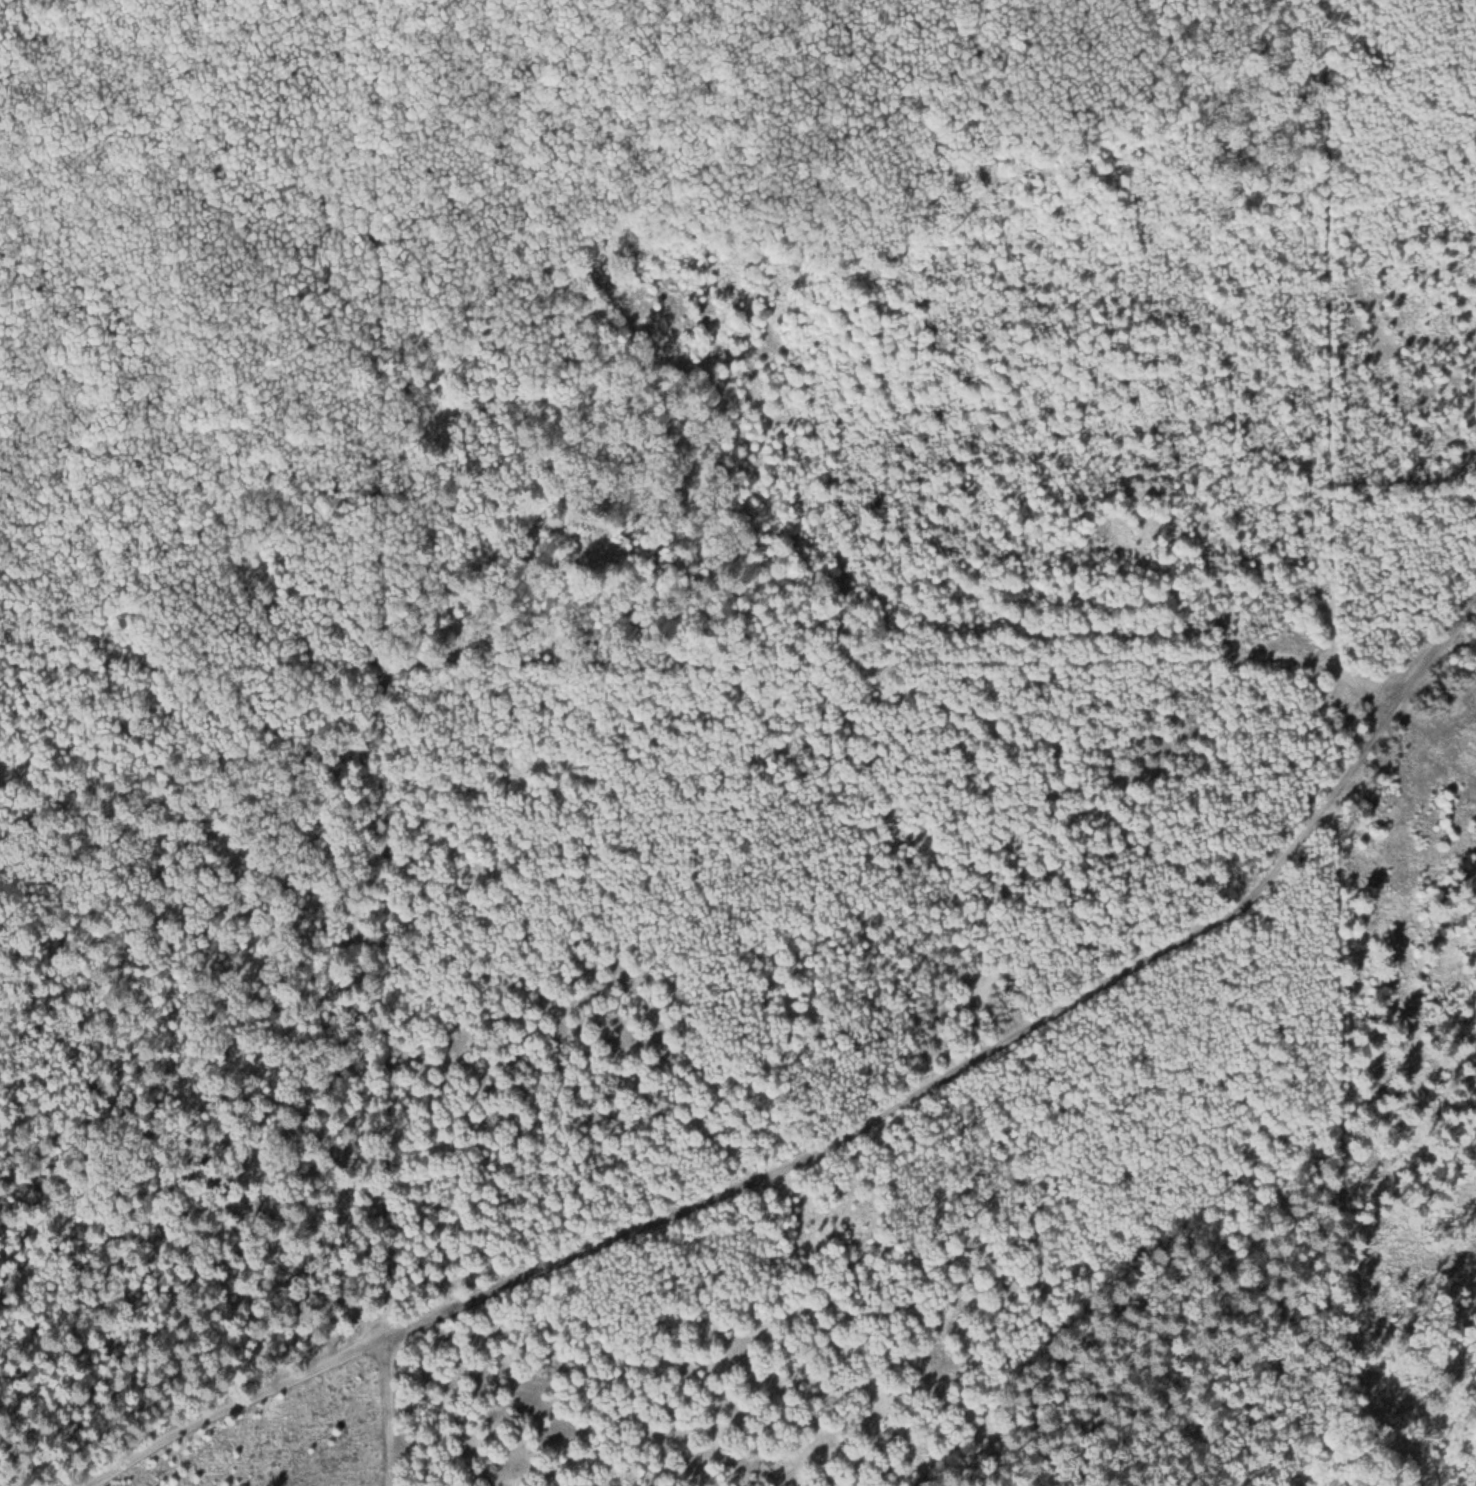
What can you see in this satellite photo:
road: (1332, 370)
road: (666, 666)
road: (841, 1138)

